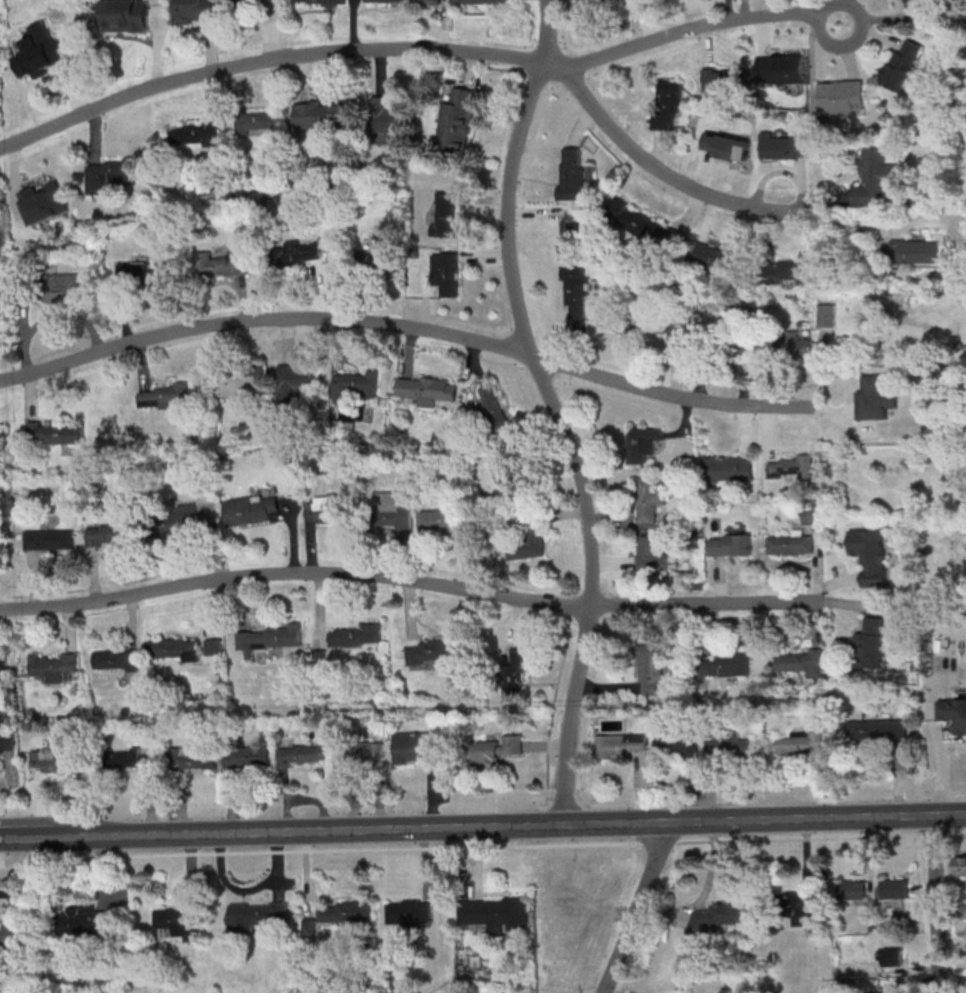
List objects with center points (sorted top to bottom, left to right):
building: (249, 1)
building: (388, 1)
building: (431, 1)
building: (478, 1)
building: (318, 2)
building: (914, 2)
building: (194, 11)
building: (124, 16)
road: (419, 51)
building: (40, 56)
building: (902, 65)
building: (781, 73)
building: (724, 80)
building: (842, 98)
building: (667, 107)
road: (594, 109)
building: (322, 117)
building: (388, 118)
building: (457, 121)
building: (259, 122)
building: (195, 135)
building: (726, 135)
building: (782, 147)
building: (570, 174)
building: (108, 175)
building: (878, 179)
road: (706, 192)
building: (445, 215)
building: (30, 216)
building: (646, 228)
building: (571, 231)
building: (915, 252)
building: (295, 255)
building: (715, 257)
building: (377, 263)
building: (219, 265)
building: (784, 271)
building: (139, 274)
building: (446, 274)
building: (47, 289)
building: (574, 289)
building: (827, 316)
building: (660, 327)
road: (409, 330)
building: (732, 340)
building: (790, 346)
building: (243, 380)
building: (296, 386)
building: (356, 386)
building: (428, 389)
building: (164, 396)
building: (875, 397)
building: (494, 409)
road: (555, 410)
building: (55, 433)
building: (643, 444)
building: (790, 467)
building: (509, 468)
building: (729, 469)
building: (649, 499)
building: (329, 509)
building: (253, 510)
building: (391, 510)
building: (175, 520)
building: (442, 520)
building: (109, 535)
building: (528, 537)
building: (46, 540)
building: (730, 545)
building: (790, 545)
building: (652, 553)
building: (871, 555)
road: (410, 584)
building: (955, 712)
road: (765, 818)
road: (281, 832)
road: (954, 835)
road: (933, 836)
road: (800, 838)
road: (660, 842)
road: (320, 851)
building: (962, 866)
road: (0, 880)
road: (920, 883)
building: (897, 888)
road: (544, 889)
building: (853, 889)
road: (936, 902)
building: (573, 904)
building: (797, 908)
road: (639, 909)
building: (409, 910)
building: (346, 911)
building: (495, 913)
building: (255, 915)
building: (720, 916)
building: (86, 919)
building: (176, 921)
building: (12, 932)
building: (894, 956)

